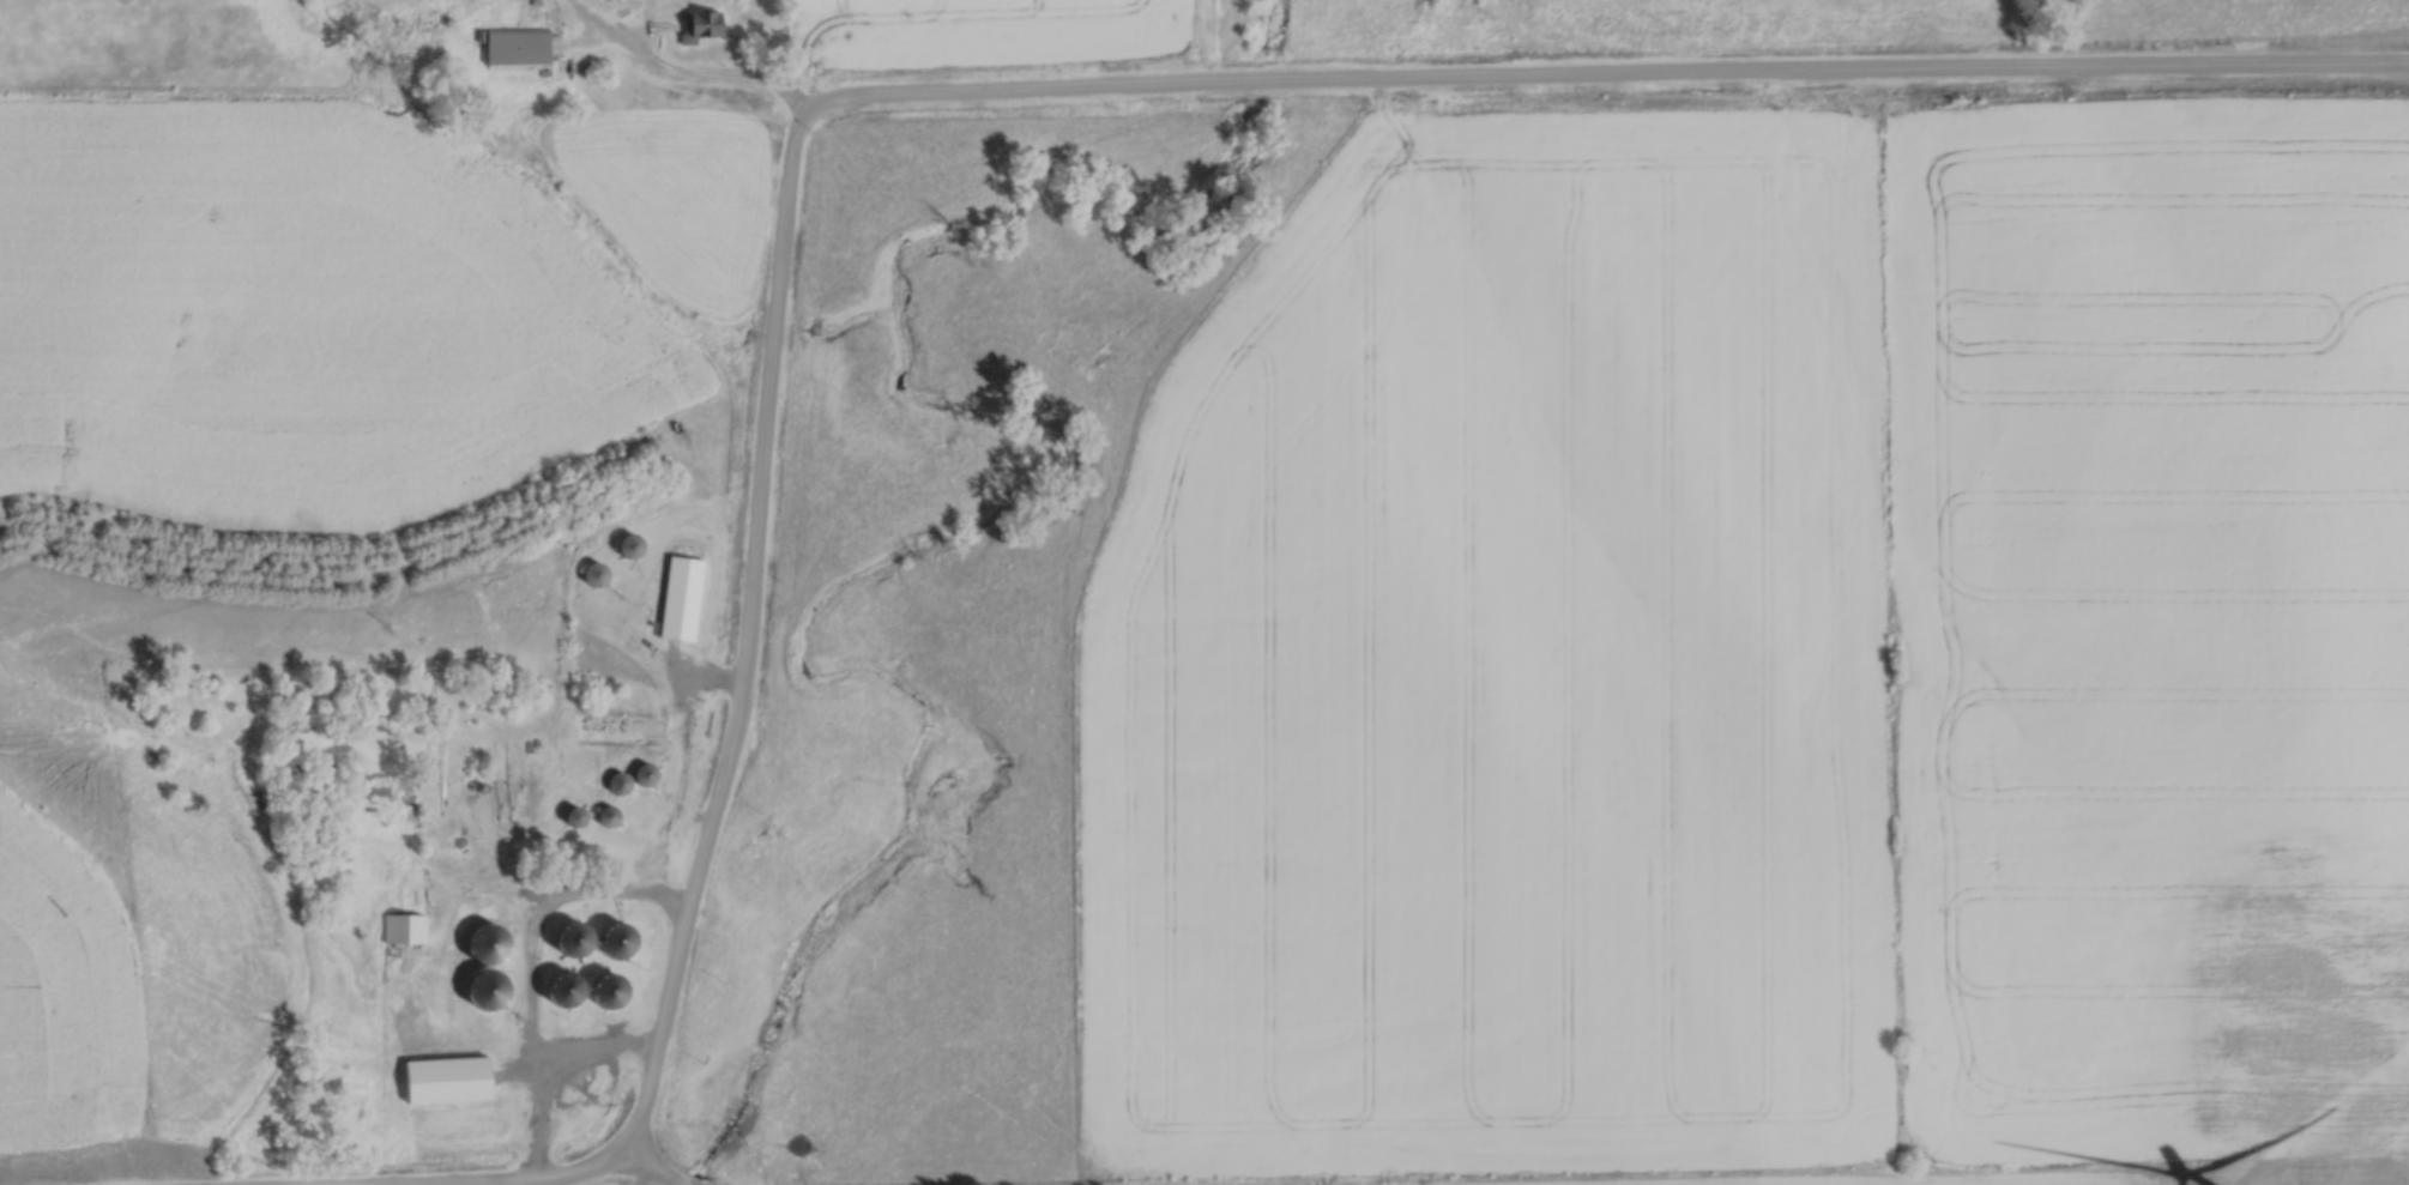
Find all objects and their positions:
building: (695, 23)
building: (511, 43)
road: (724, 78)
road: (1033, 92)
building: (624, 543)
building: (590, 572)
building: (677, 595)
building: (626, 775)
building: (372, 785)
building: (603, 814)
building: (567, 815)
road: (612, 900)
building: (482, 923)
building: (402, 926)
building: (563, 937)
building: (609, 937)
building: (556, 986)
building: (598, 987)
building: (441, 1076)
road: (647, 1172)

